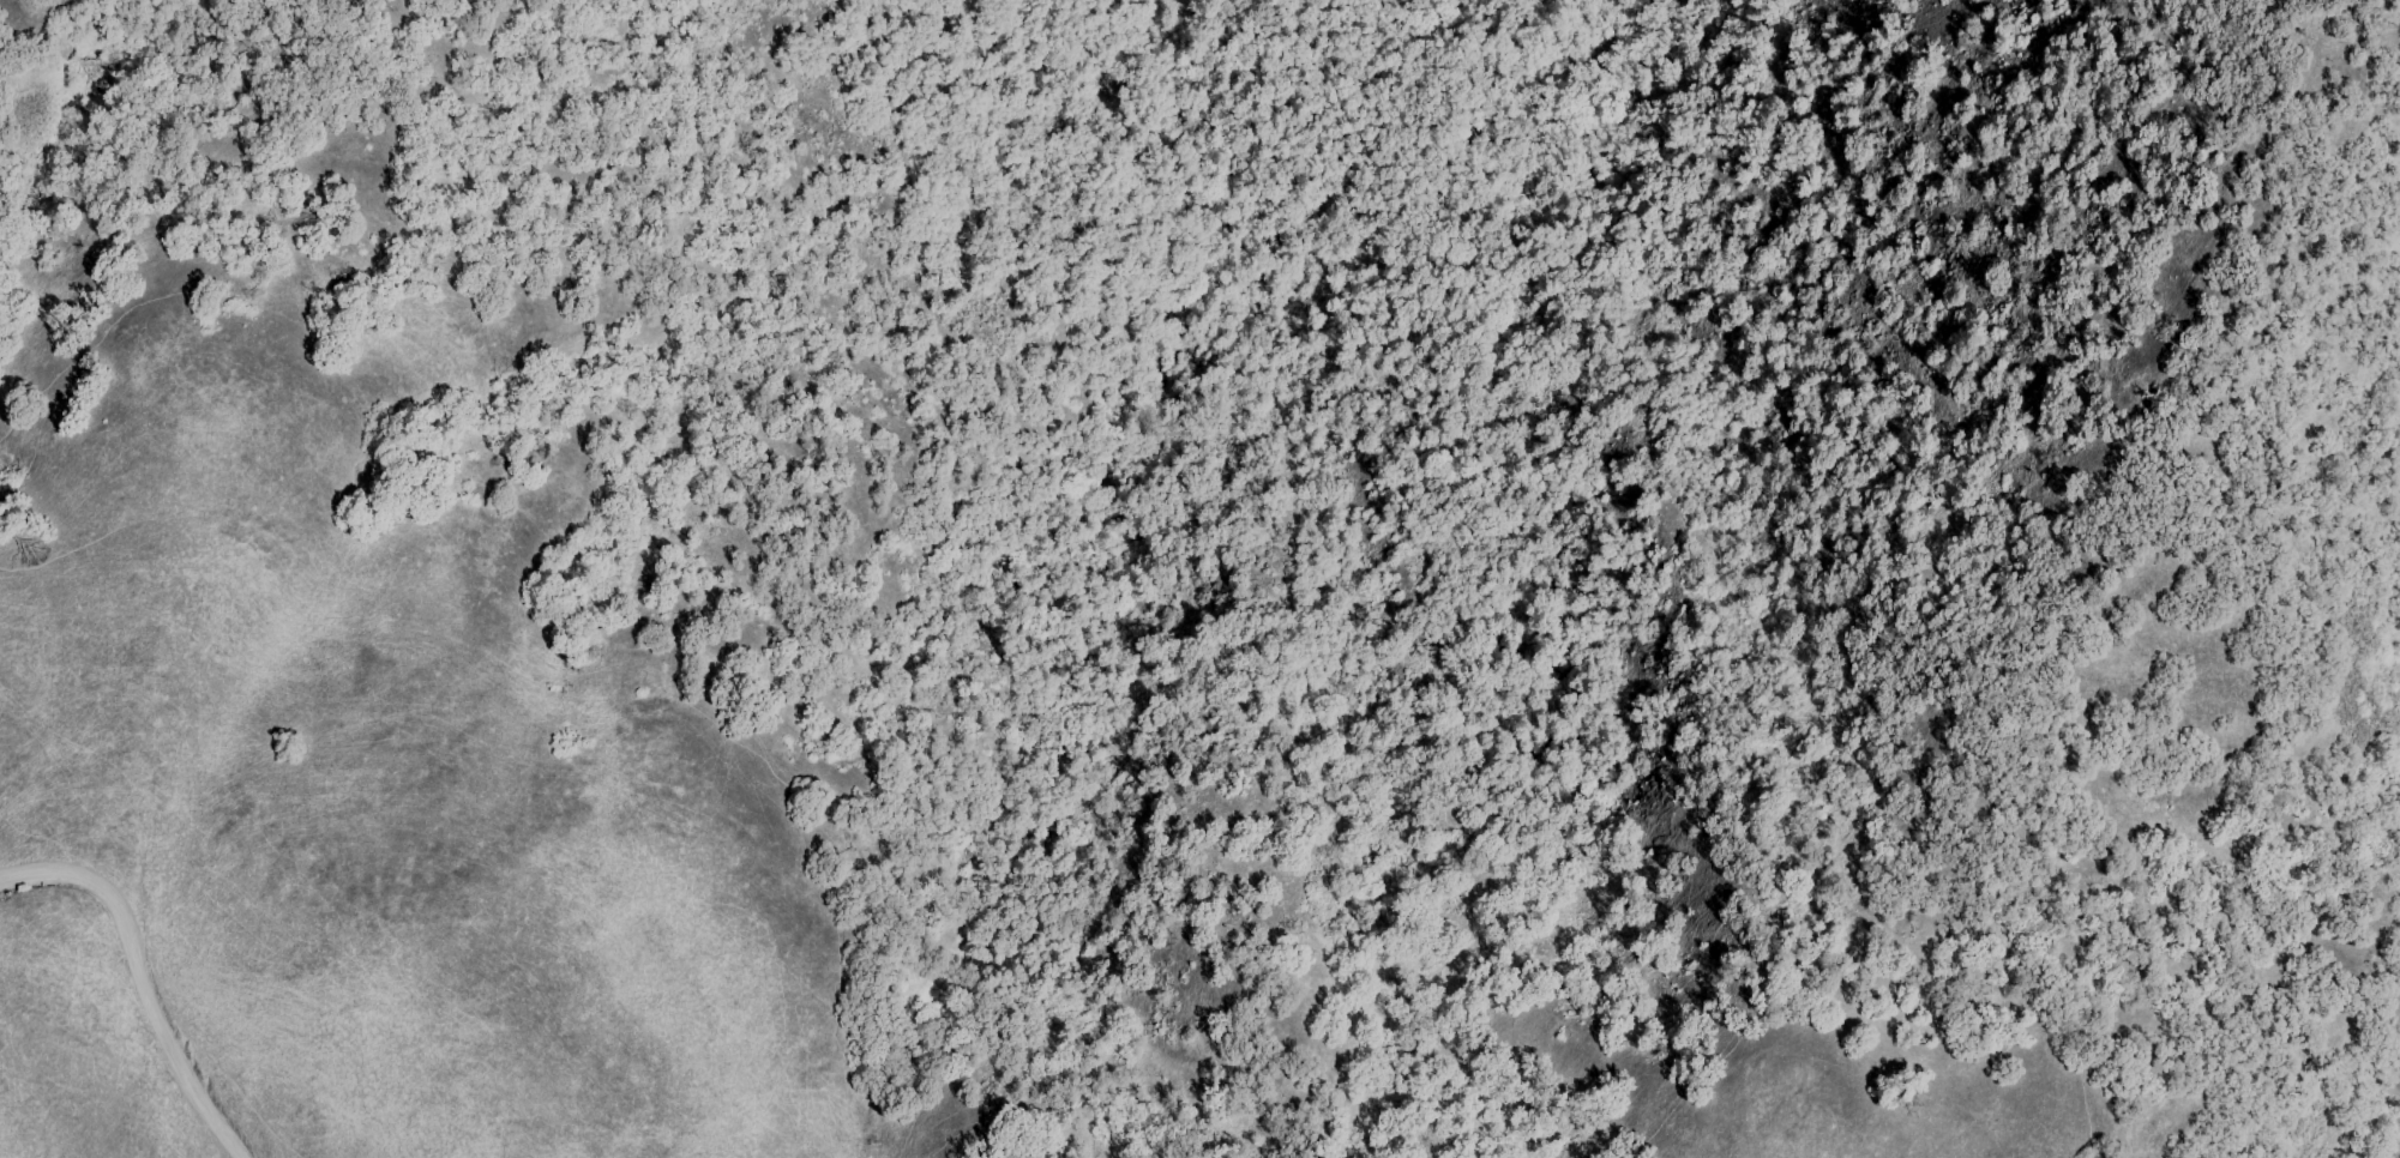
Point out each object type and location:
road: (149, 978)

